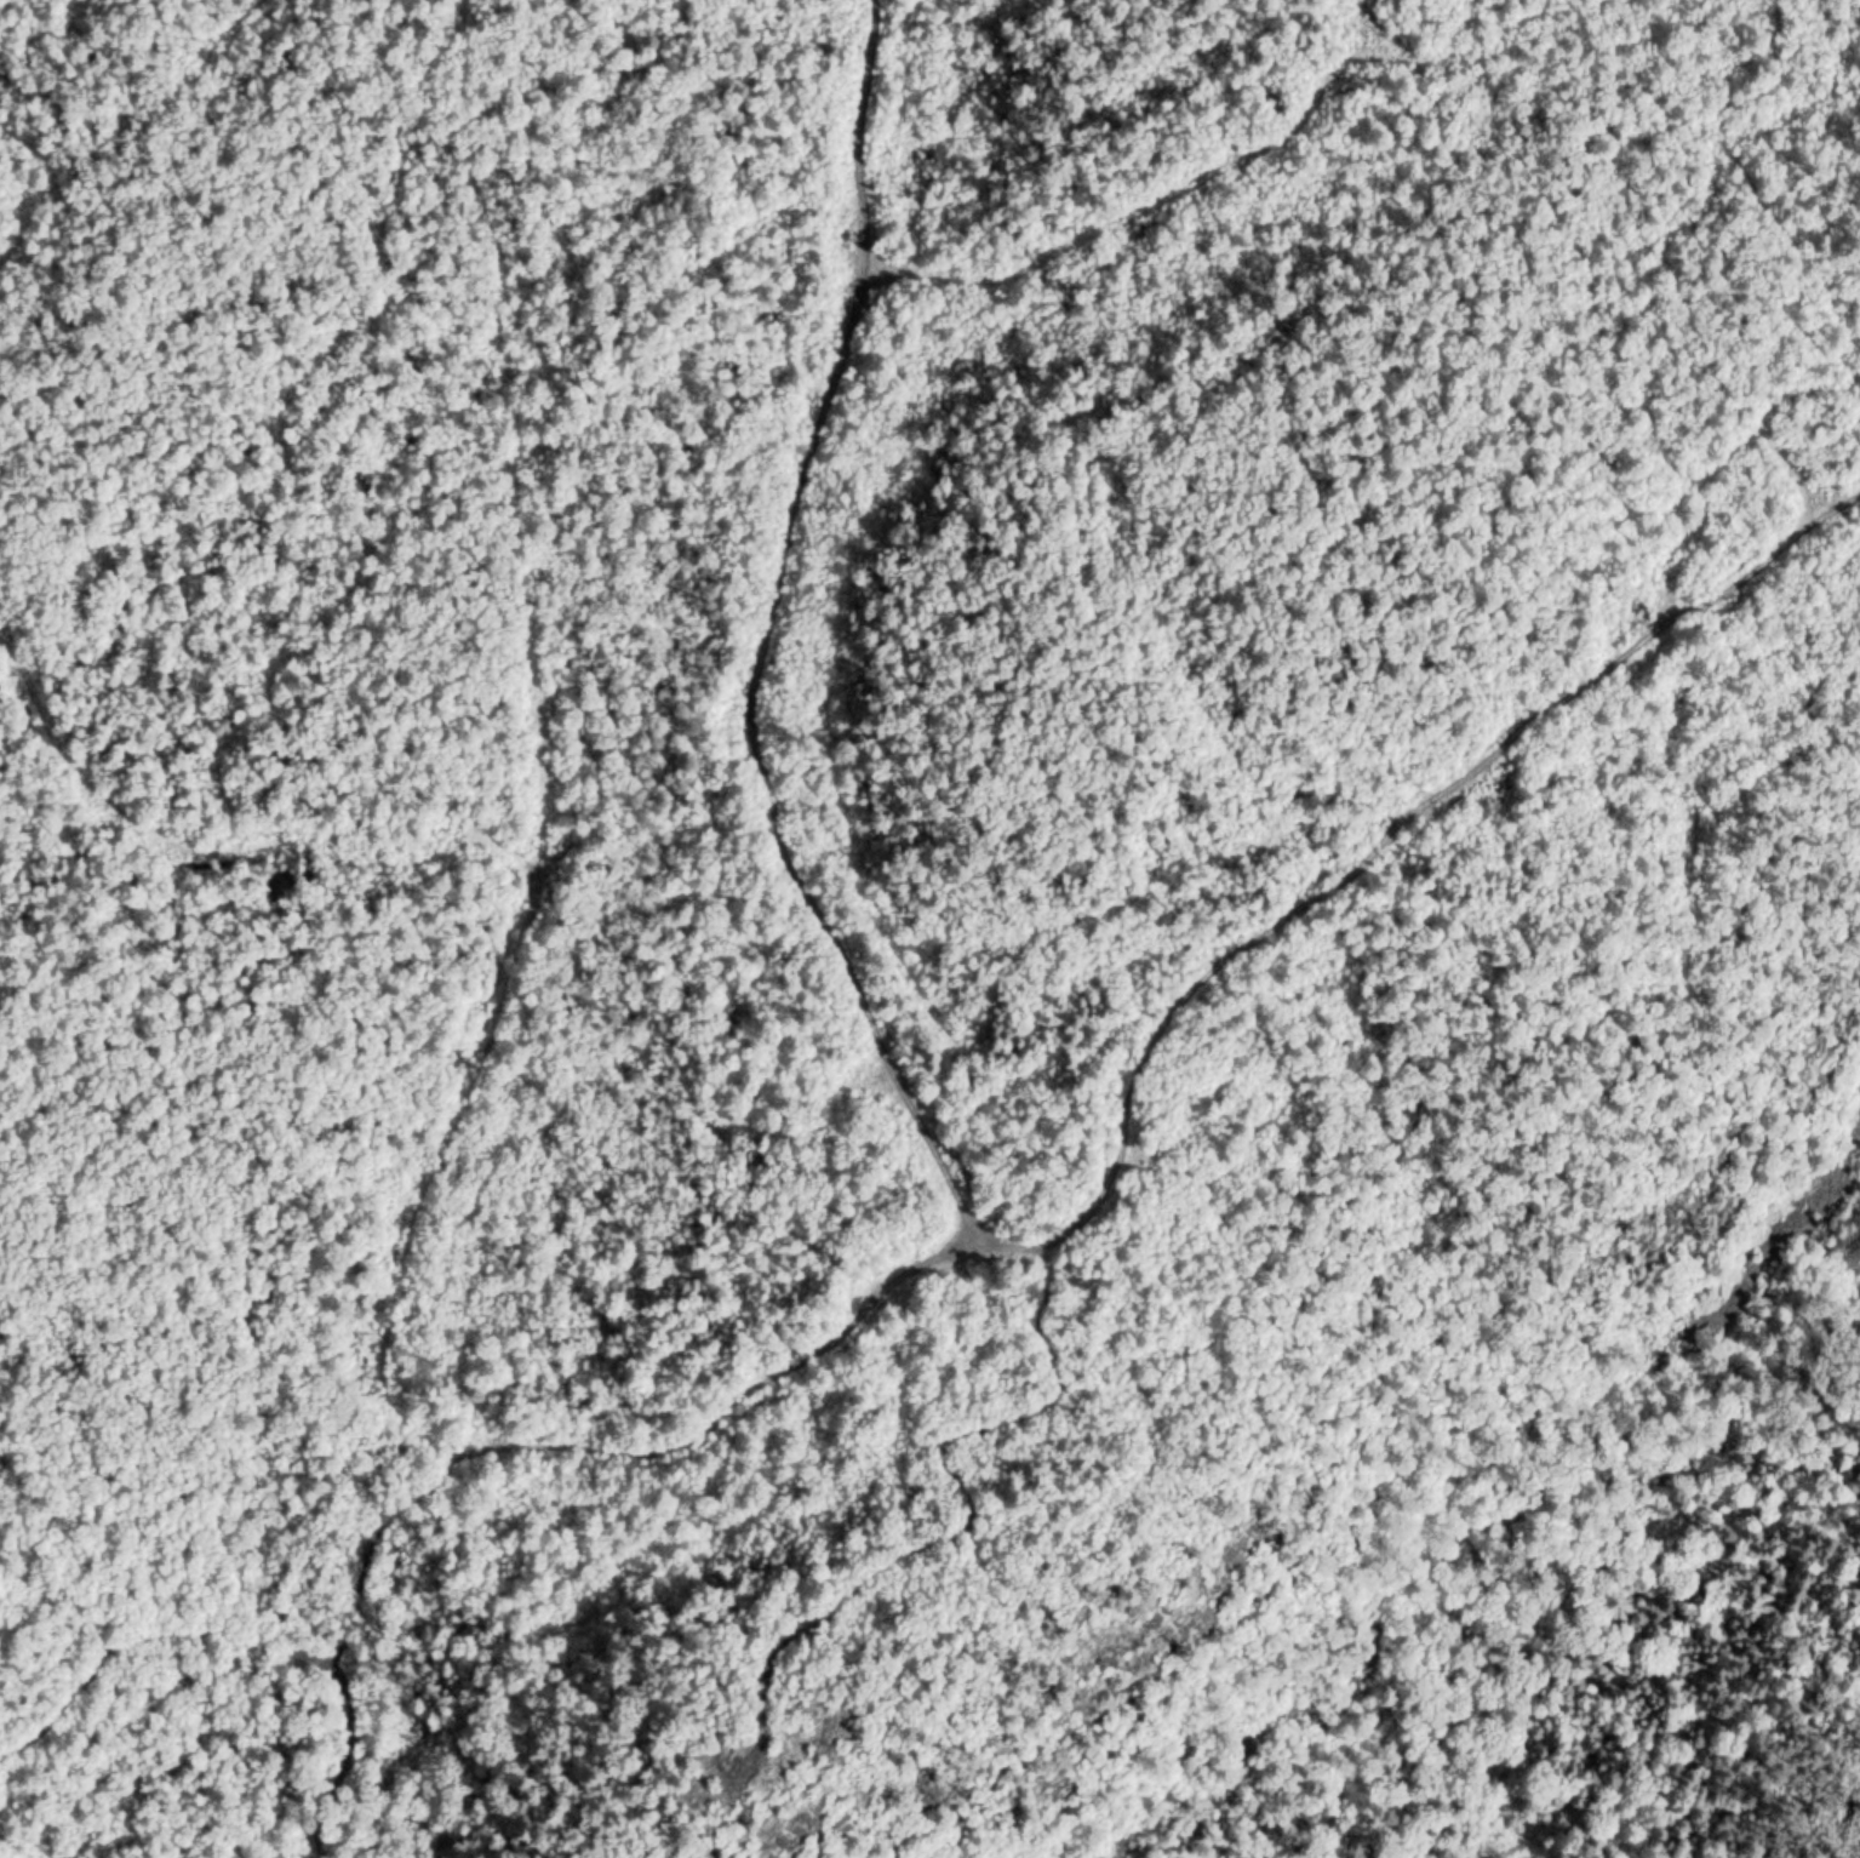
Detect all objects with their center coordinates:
road: (242, 1647)
river: (1855, 1856)

